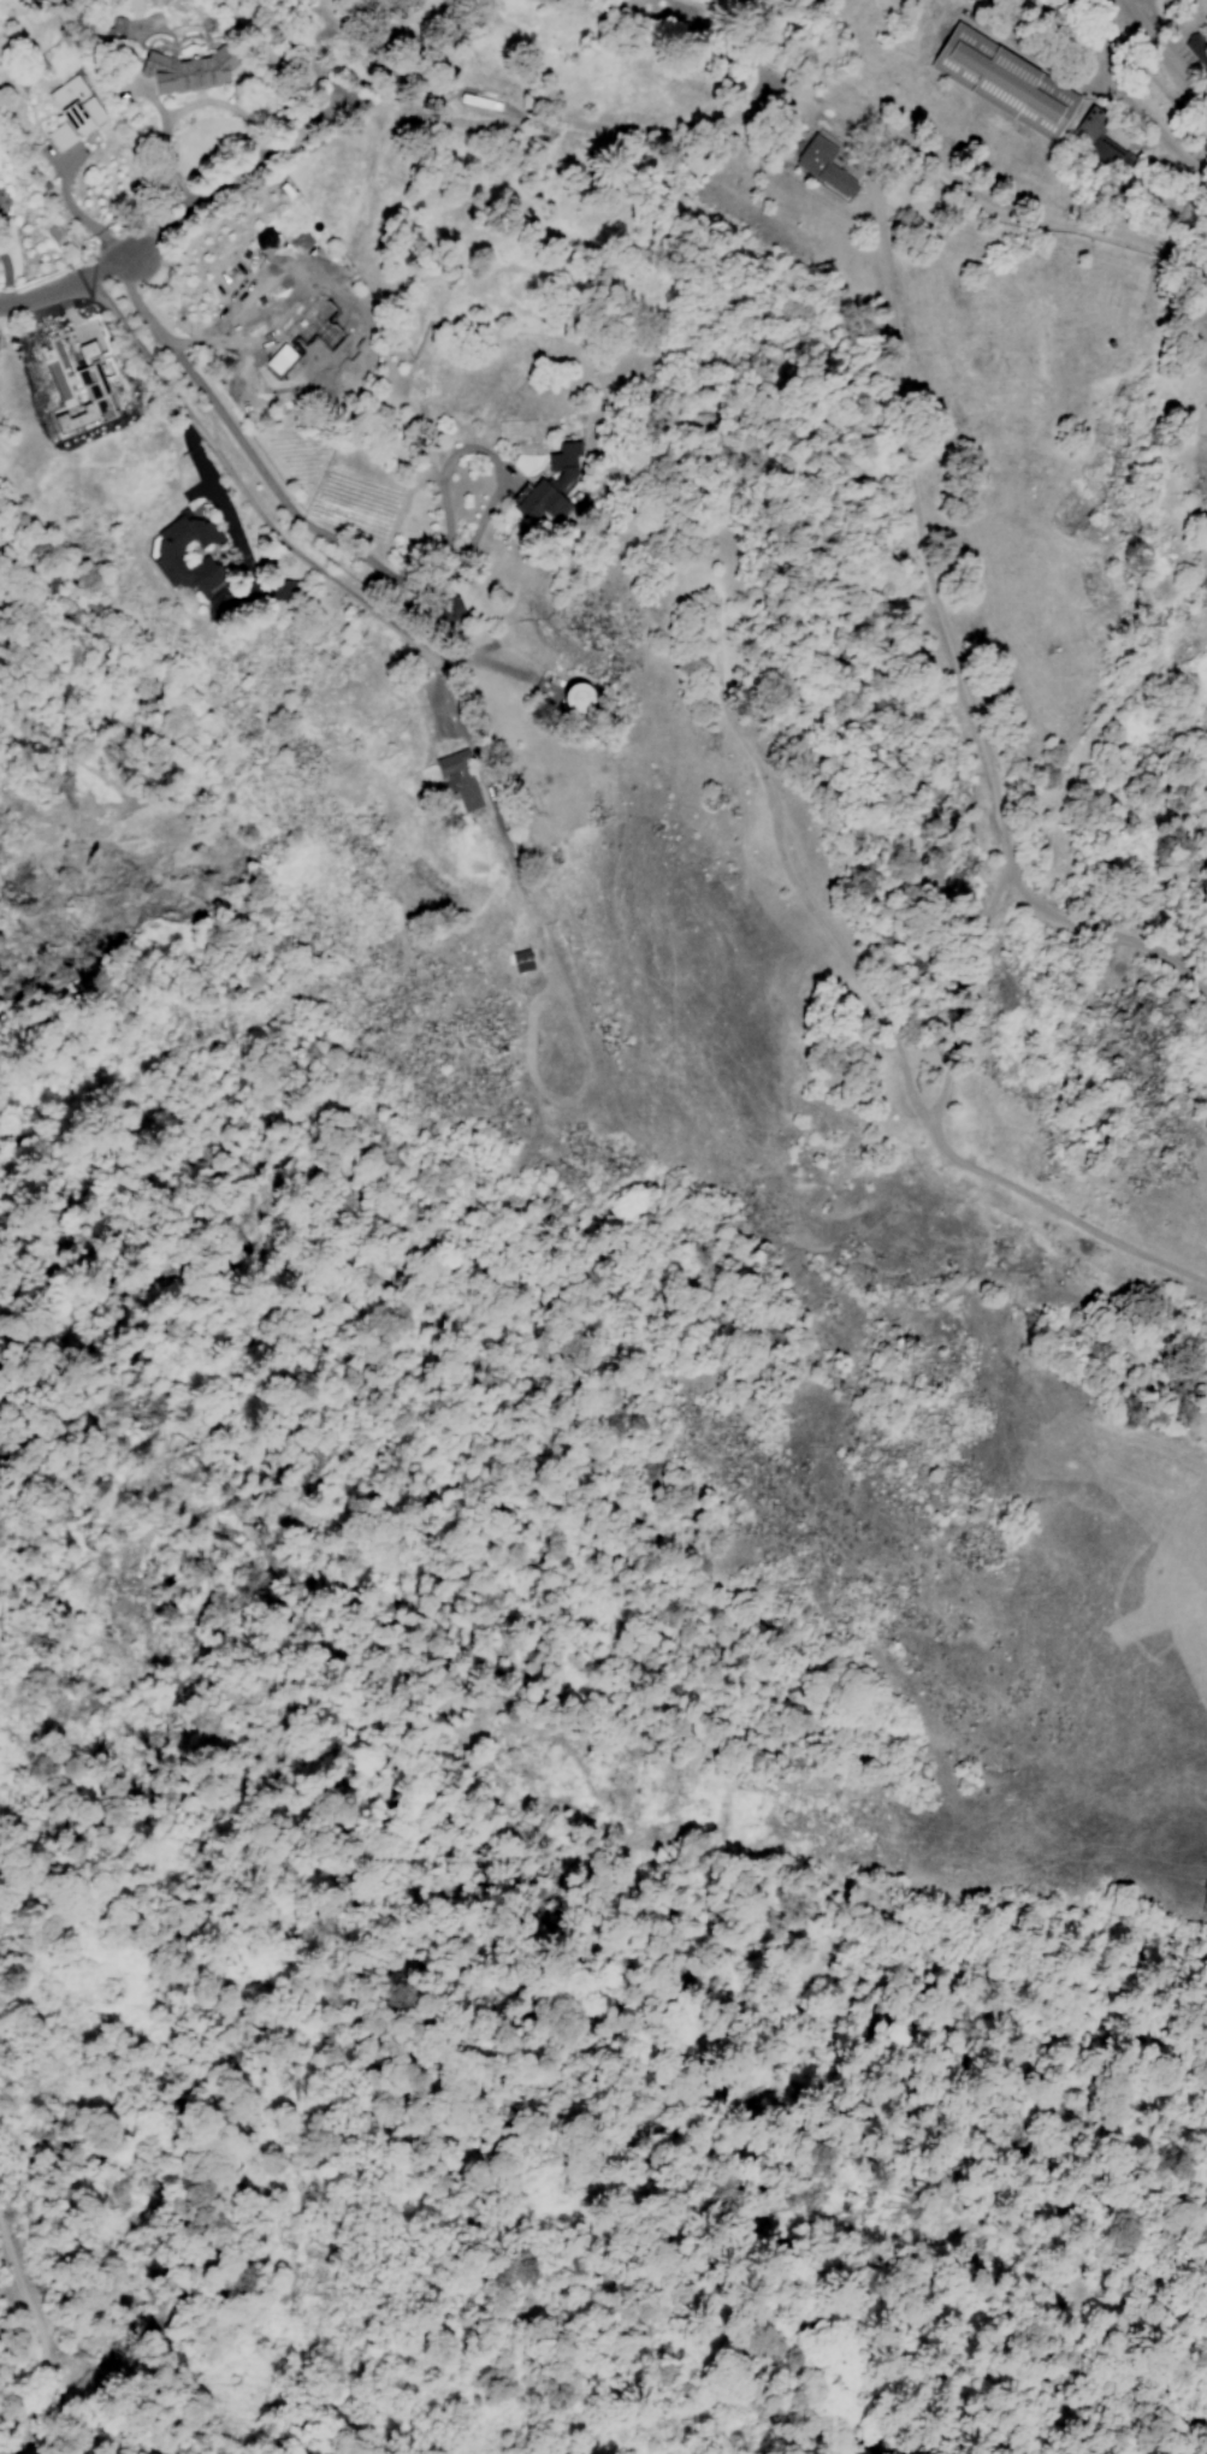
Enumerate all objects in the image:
building: (1206, 16)
building: (116, 25)
building: (1205, 25)
building: (1196, 49)
building: (188, 69)
water tower: (395, 77)
water tower: (455, 85)
building: (1008, 88)
road: (1111, 88)
building: (72, 112)
road: (597, 126)
building: (1099, 138)
building: (823, 164)
building: (1, 194)
road: (75, 212)
road: (550, 235)
road: (75, 283)
building: (324, 321)
building: (296, 323)
building: (277, 377)
building: (81, 386)
building: (551, 484)
road: (318, 530)
road: (279, 534)
building: (168, 558)
building: (282, 591)
building: (576, 696)
water tower: (575, 697)
building: (460, 781)
building: (522, 960)
road: (894, 1048)
road: (47, 2359)

